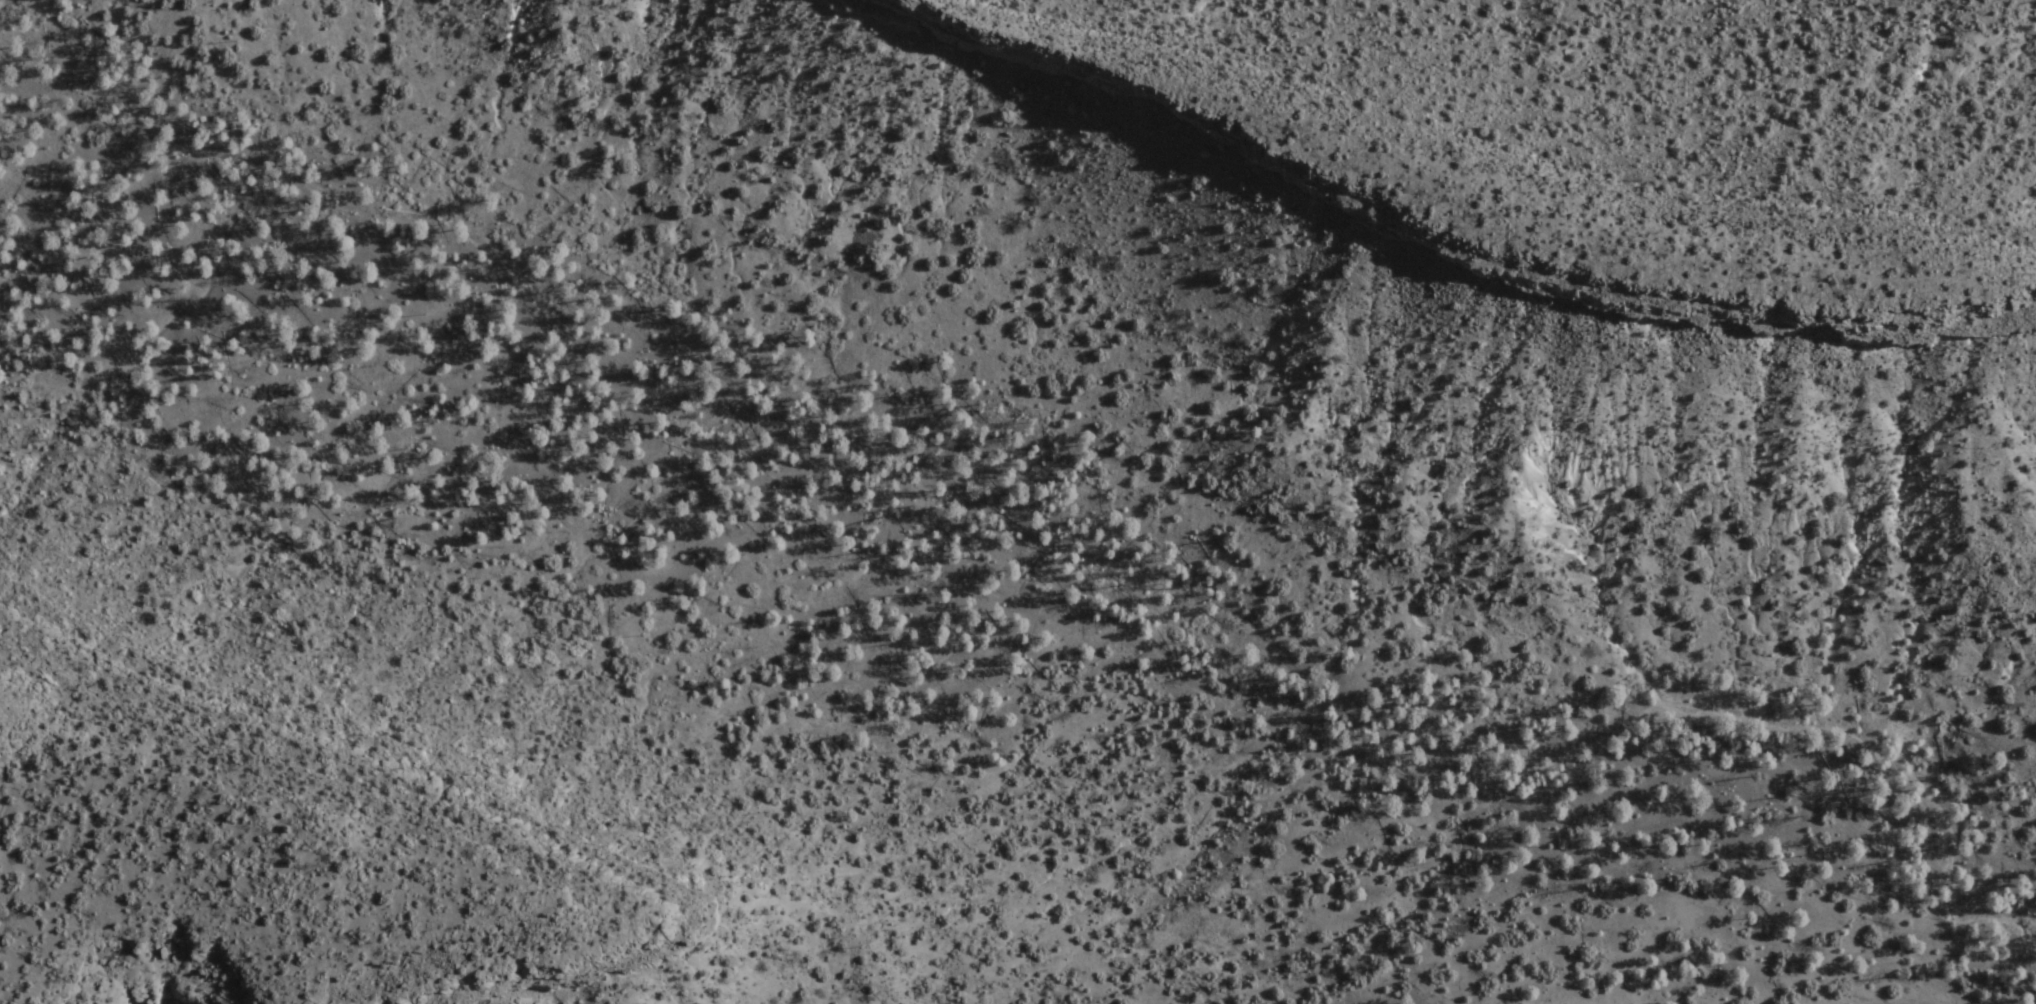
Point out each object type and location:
road: (9, 987)

